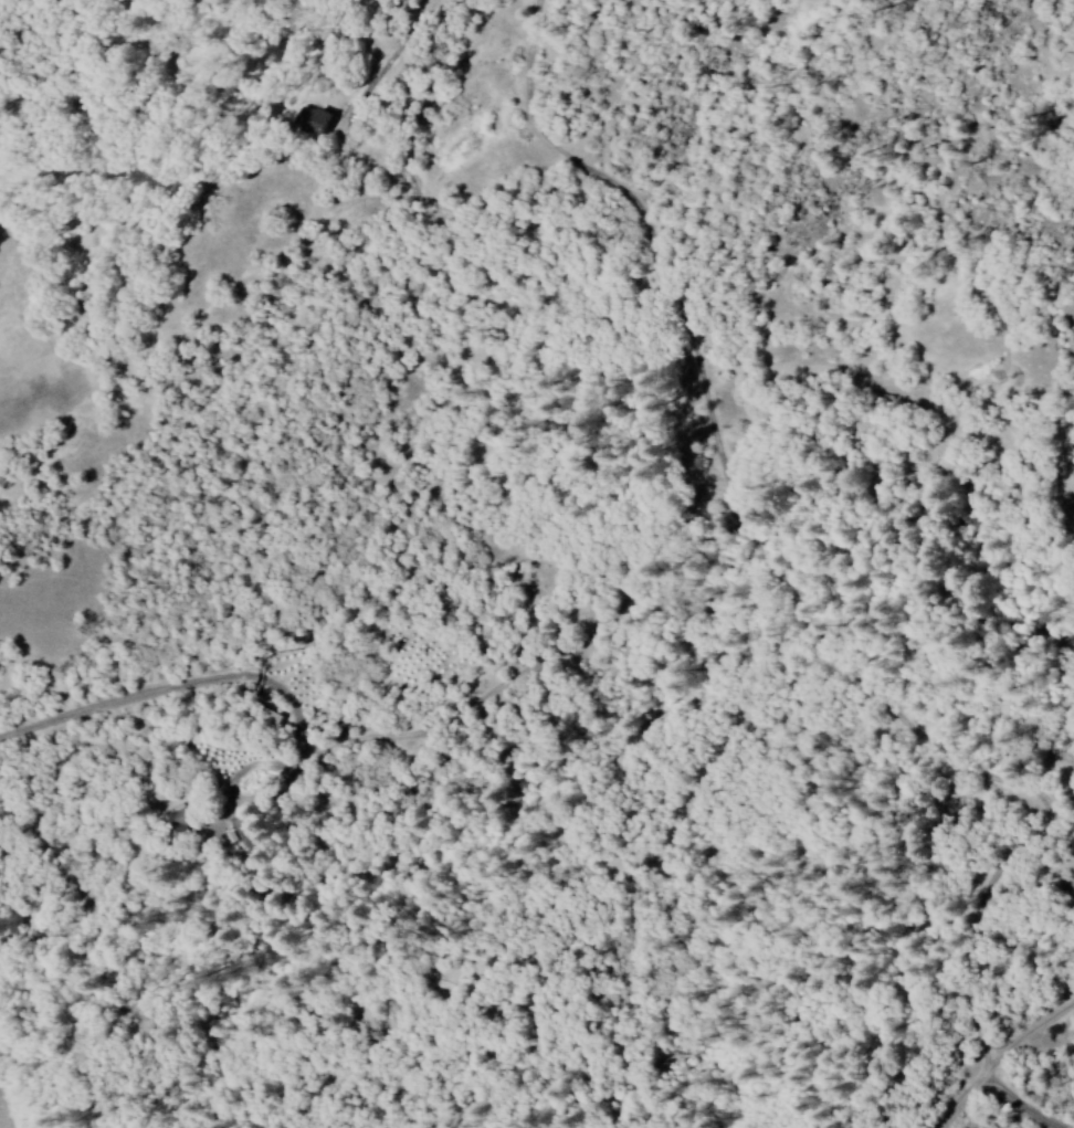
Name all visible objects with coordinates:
building: (309, 119)
road: (731, 538)
road: (198, 683)
road: (1003, 1069)

